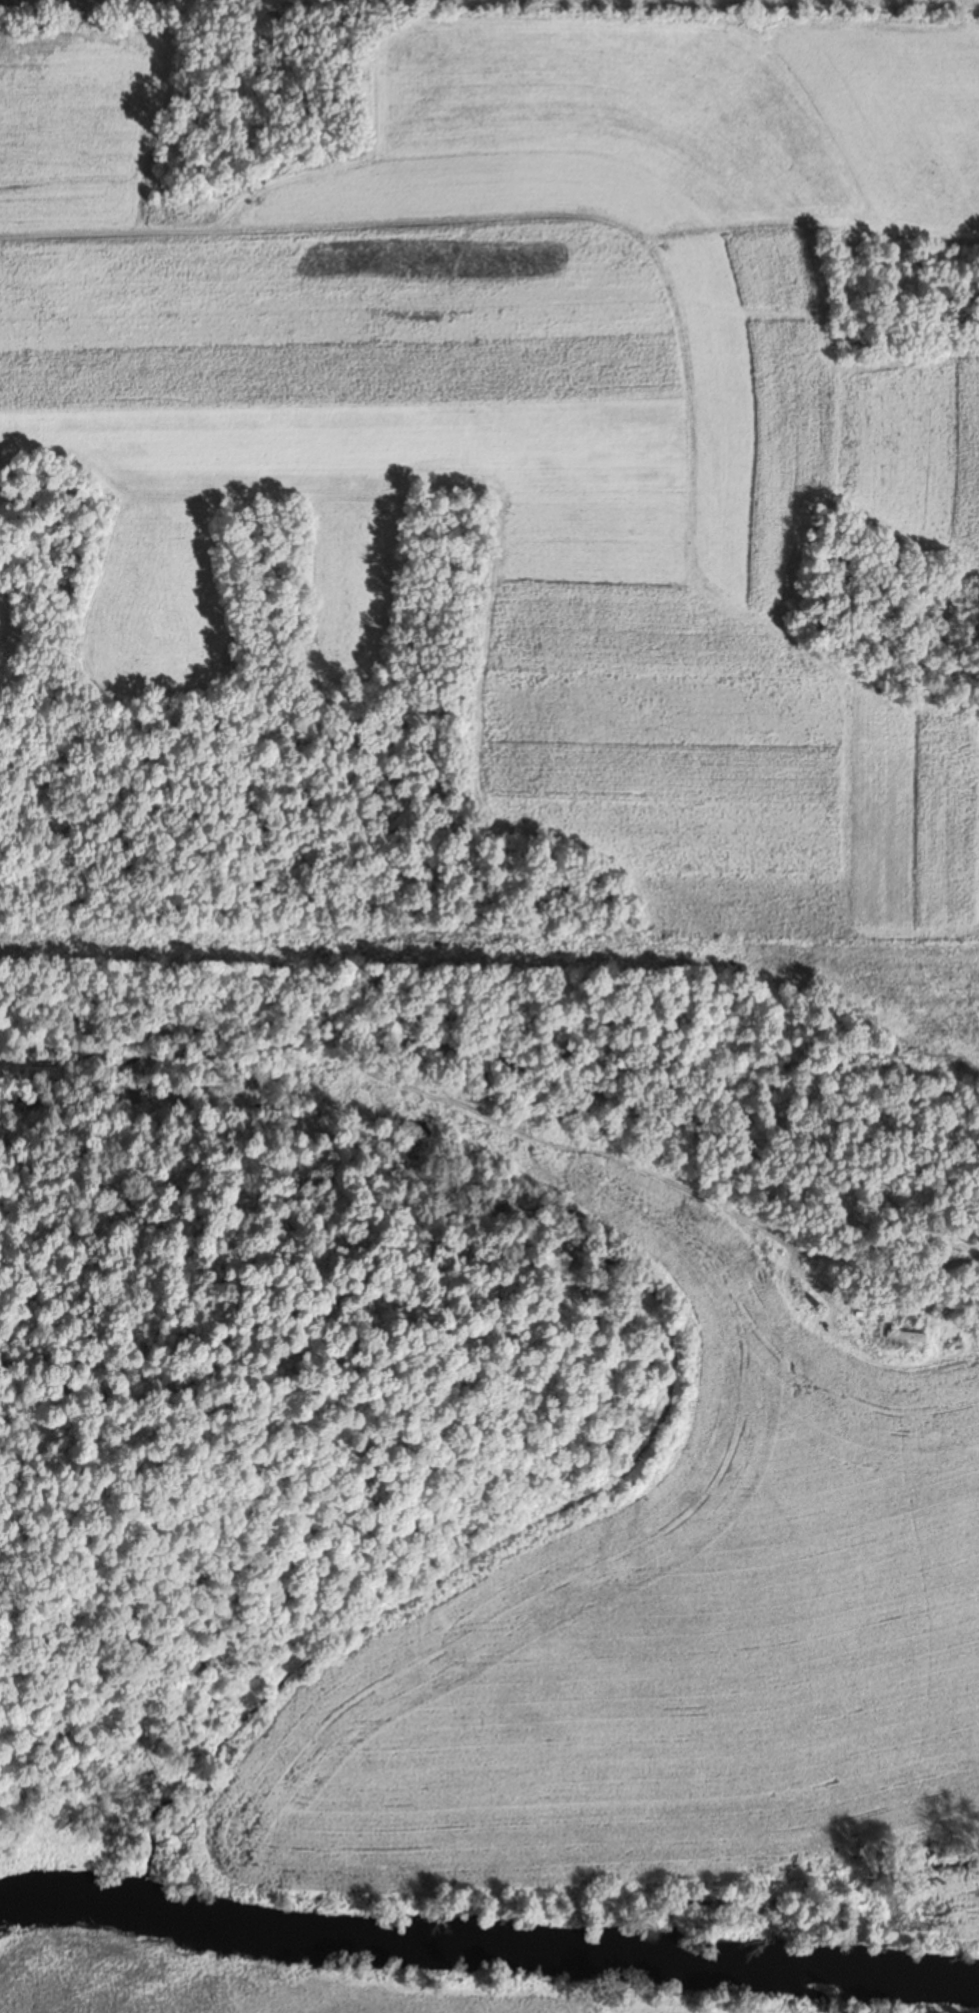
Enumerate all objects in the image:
building: (905, 1336)
river: (486, 1947)

